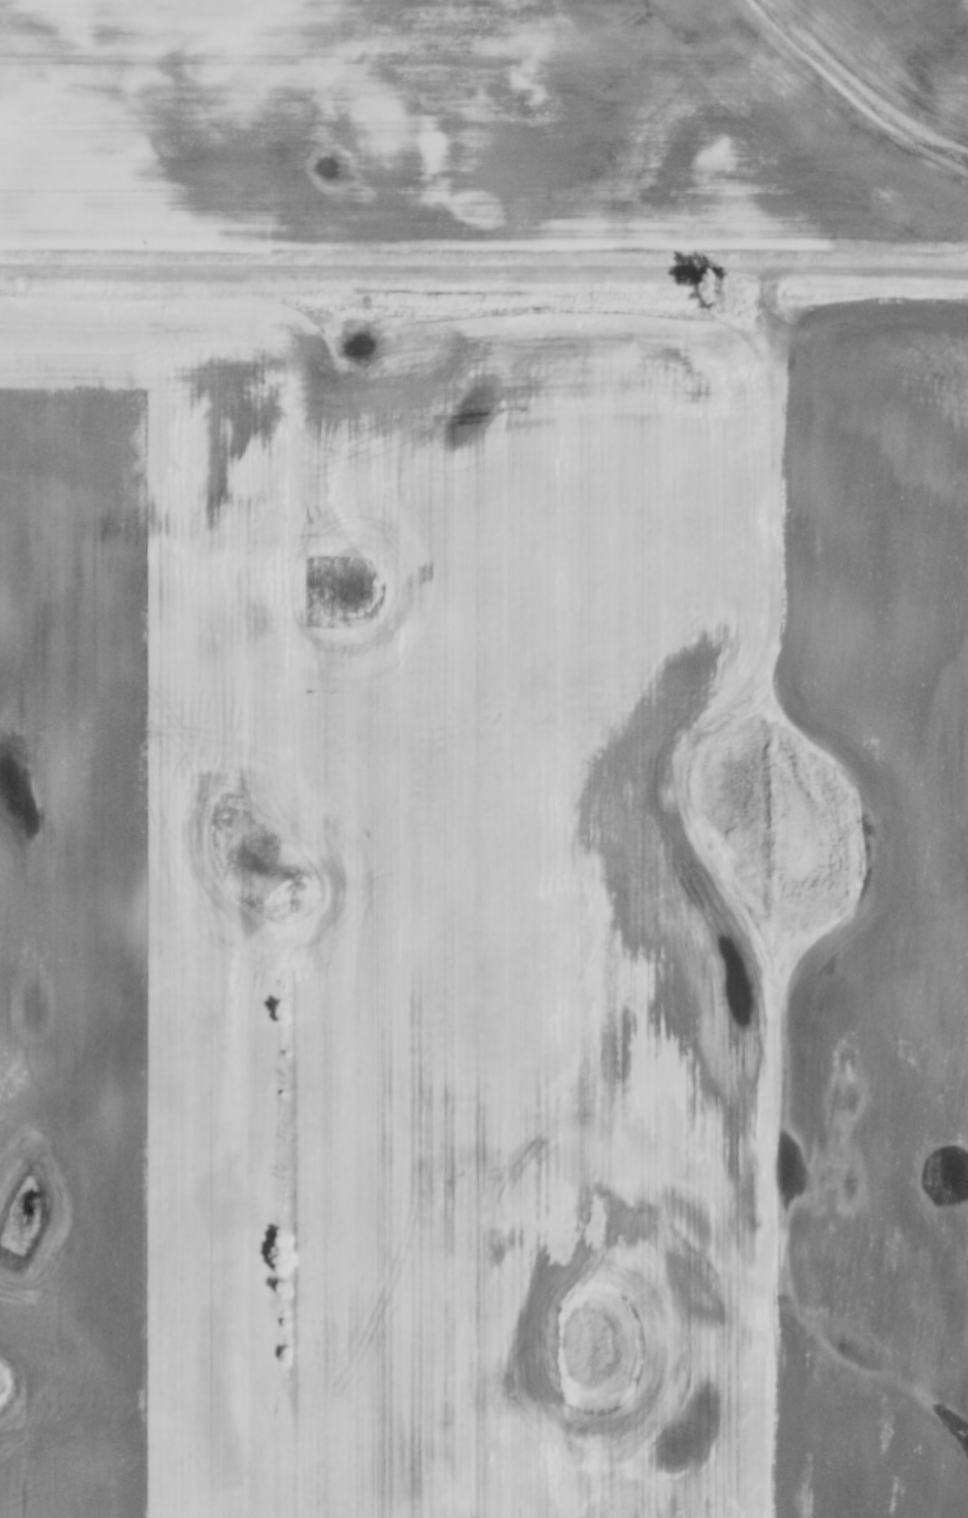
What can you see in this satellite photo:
road: (484, 267)

